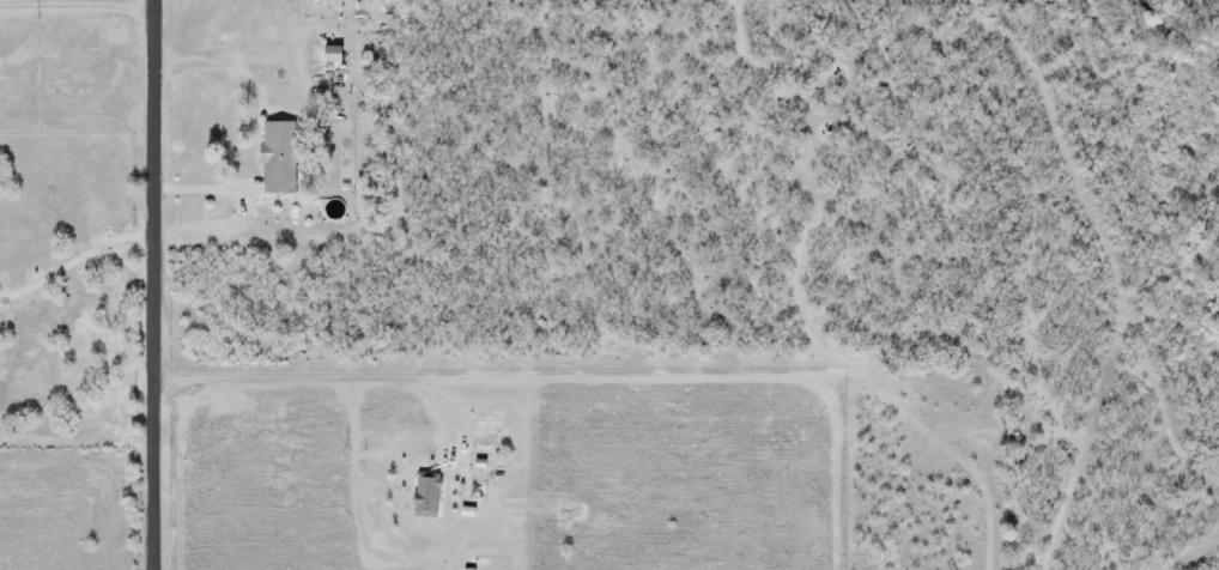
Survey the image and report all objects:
road: (78, 10)
building: (275, 158)
road: (205, 190)
road: (77, 261)
road: (158, 284)
road: (319, 381)

